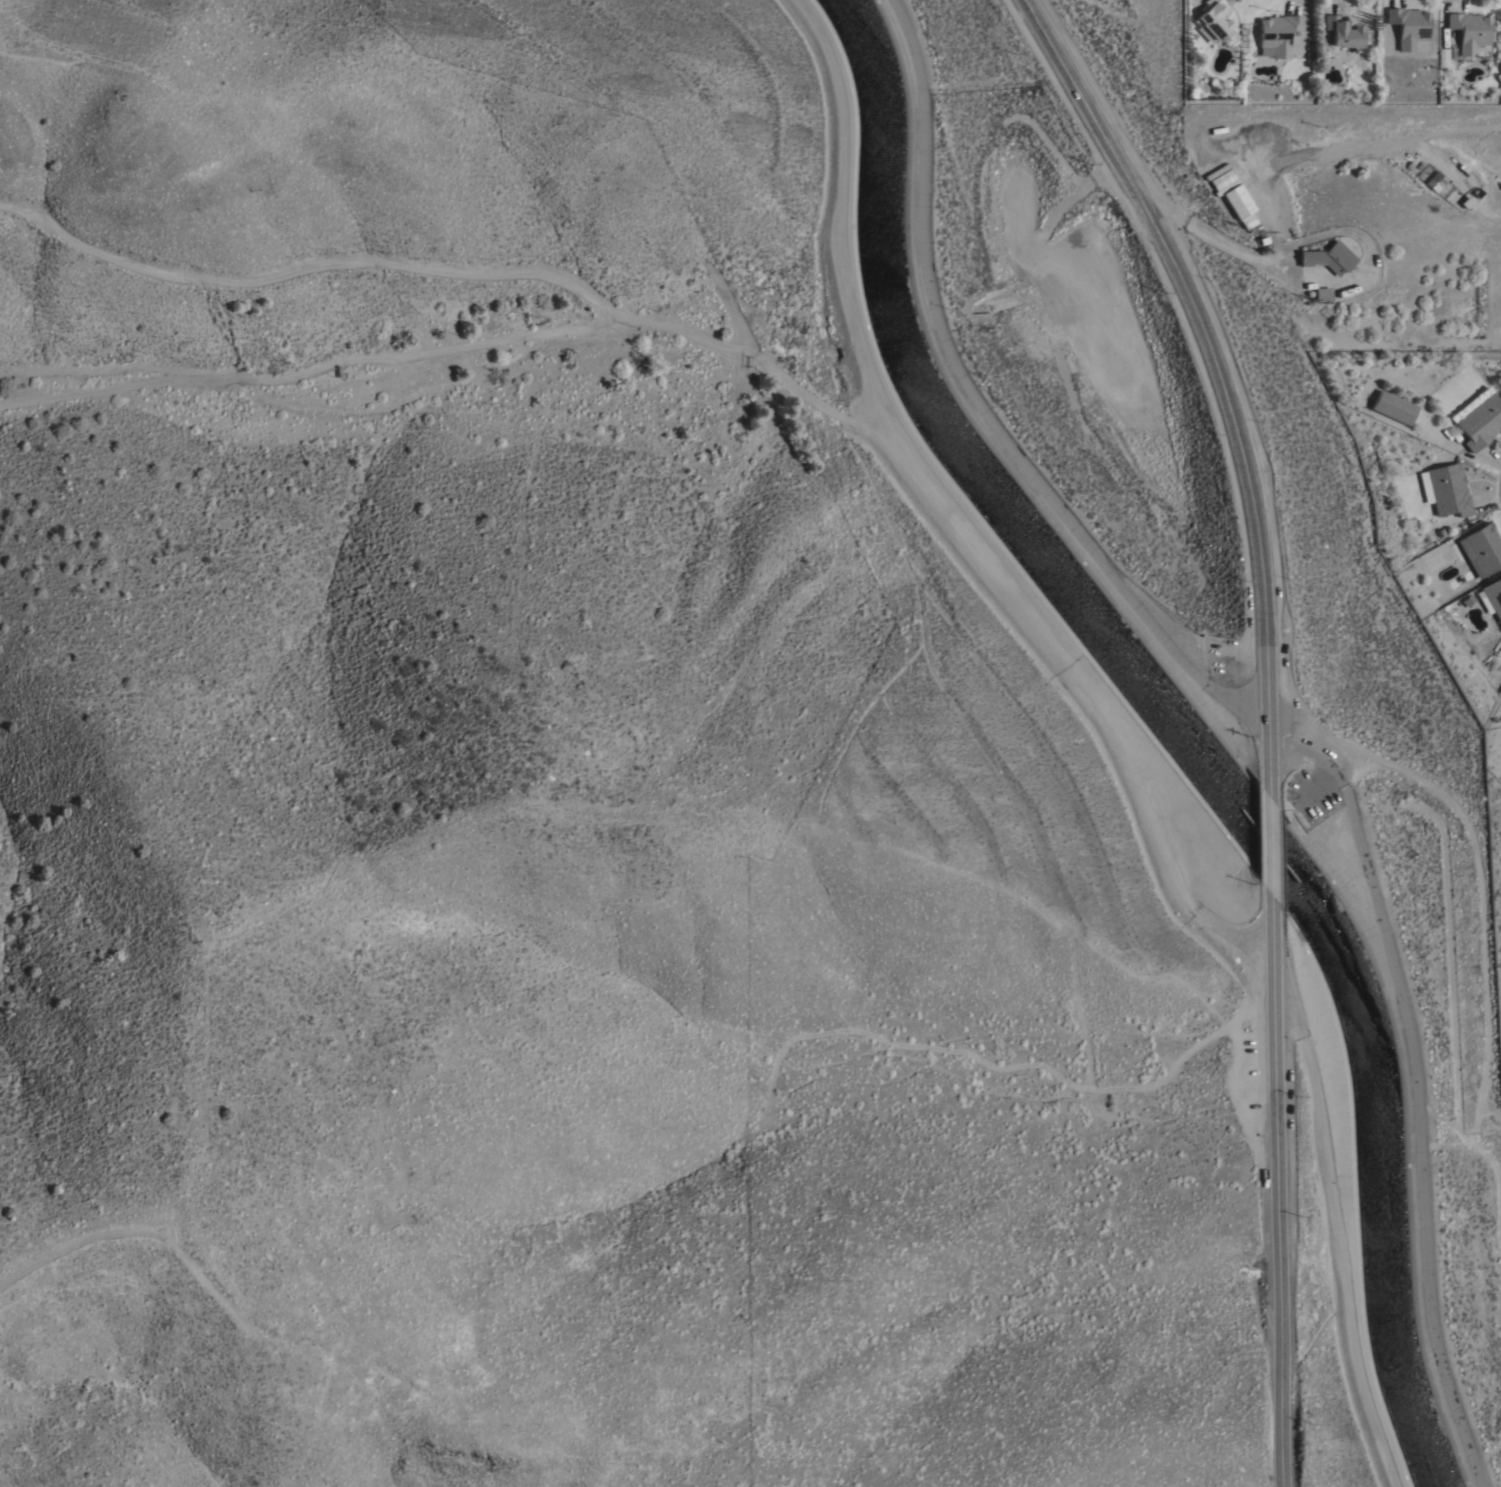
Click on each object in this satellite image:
building: (1212, 18)
building: (1408, 25)
building: (1343, 31)
building: (1469, 32)
building: (1277, 33)
building: (1246, 76)
building: (1461, 167)
building: (1222, 178)
building: (1435, 181)
building: (1470, 196)
building: (1448, 199)
building: (1238, 202)
road: (1270, 226)
road: (1217, 238)
building: (1262, 239)
building: (1327, 257)
building: (1320, 293)
road: (1218, 373)
building: (1393, 407)
building: (1480, 422)
building: (1445, 489)
road: (953, 519)
building: (1440, 533)
building: (1481, 550)
building: (1493, 597)
road: (1246, 718)
road: (1268, 844)
road: (1276, 1192)
road: (1335, 1235)

